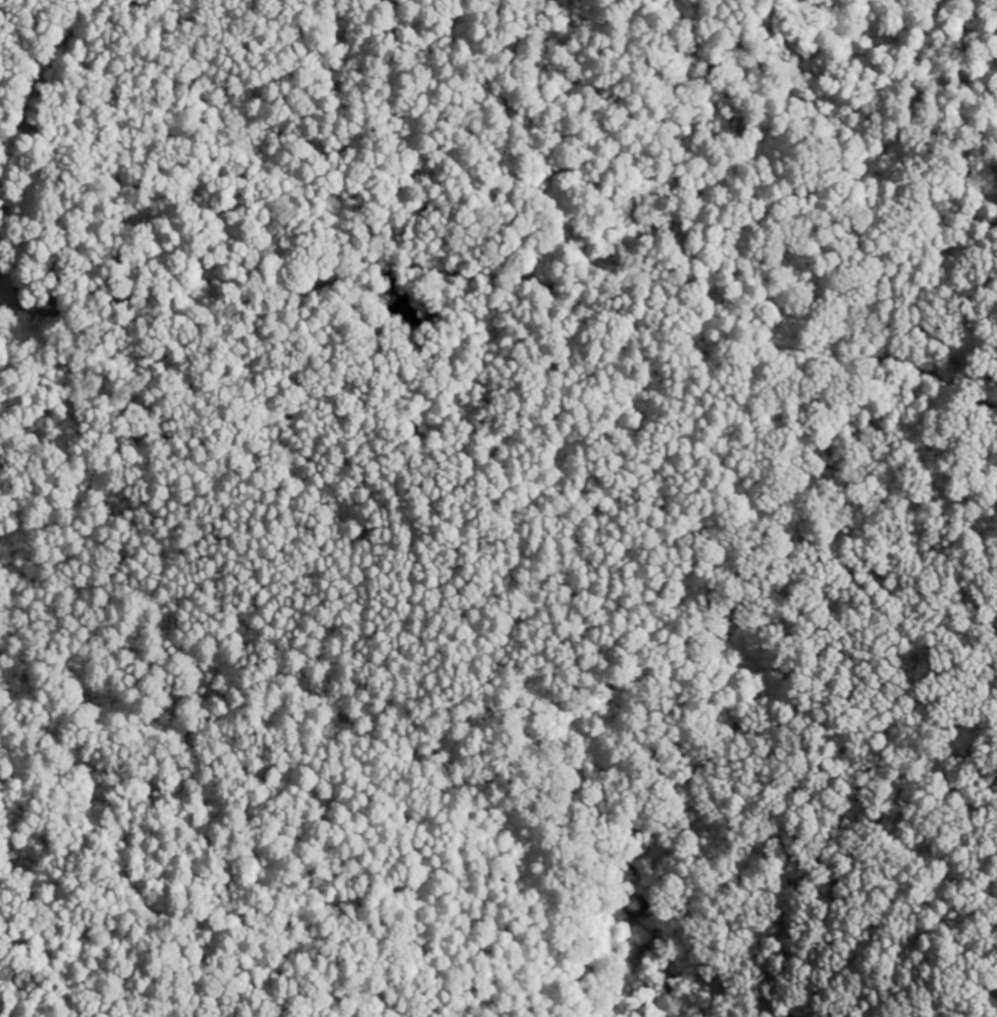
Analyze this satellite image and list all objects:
road: (24, 106)
road: (34, 309)

